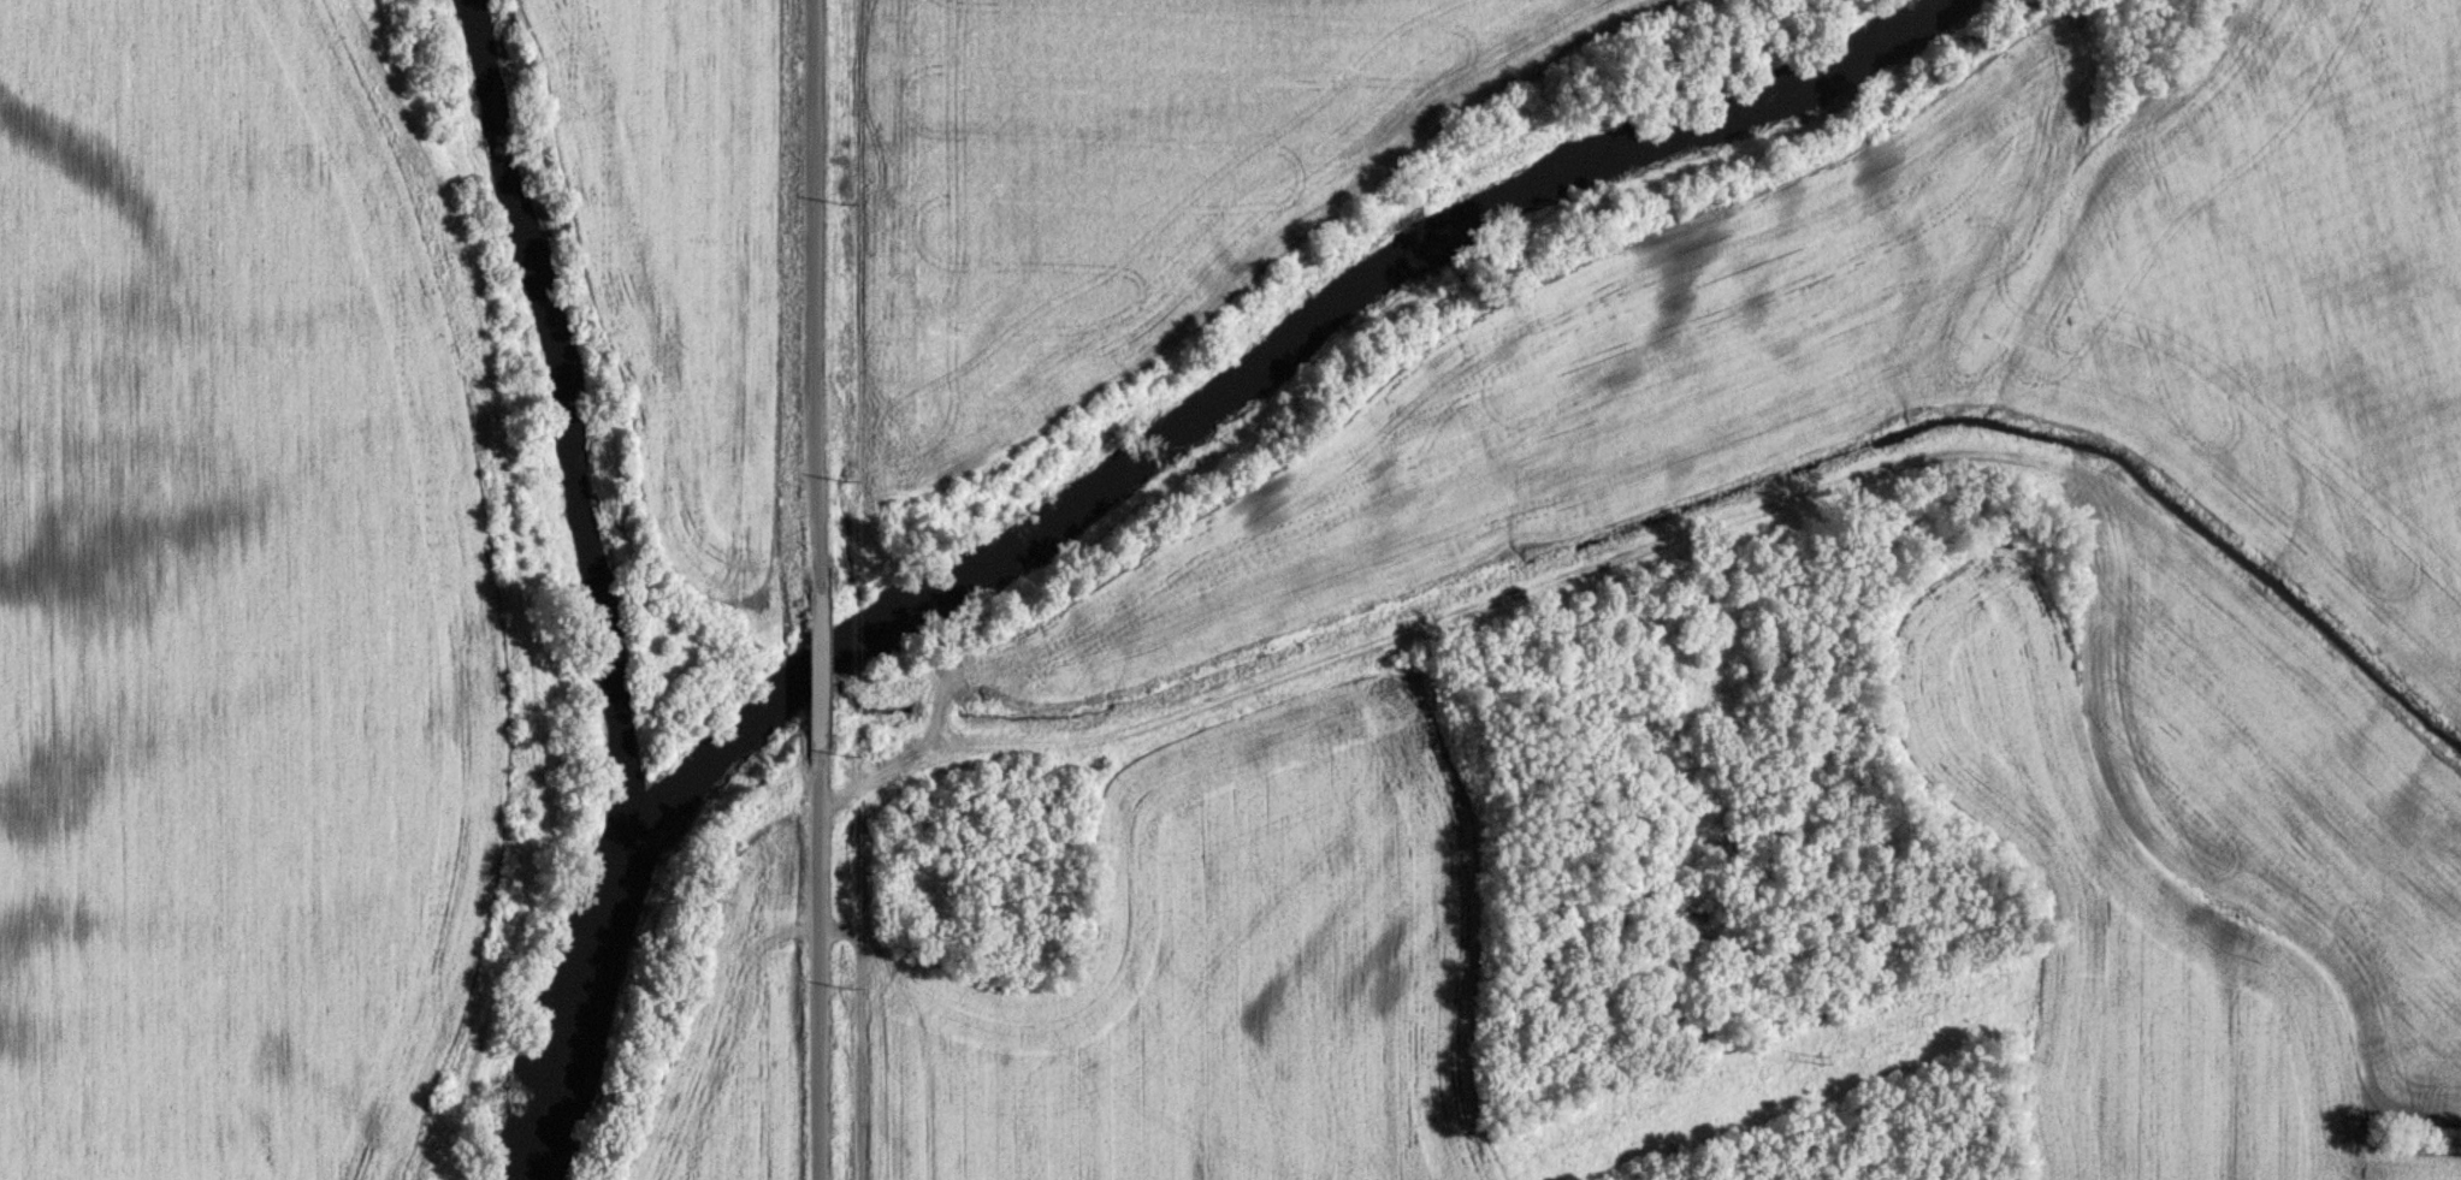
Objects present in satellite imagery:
road: (815, 292)
river: (573, 426)
river: (1117, 469)
road: (816, 664)
road: (818, 961)

